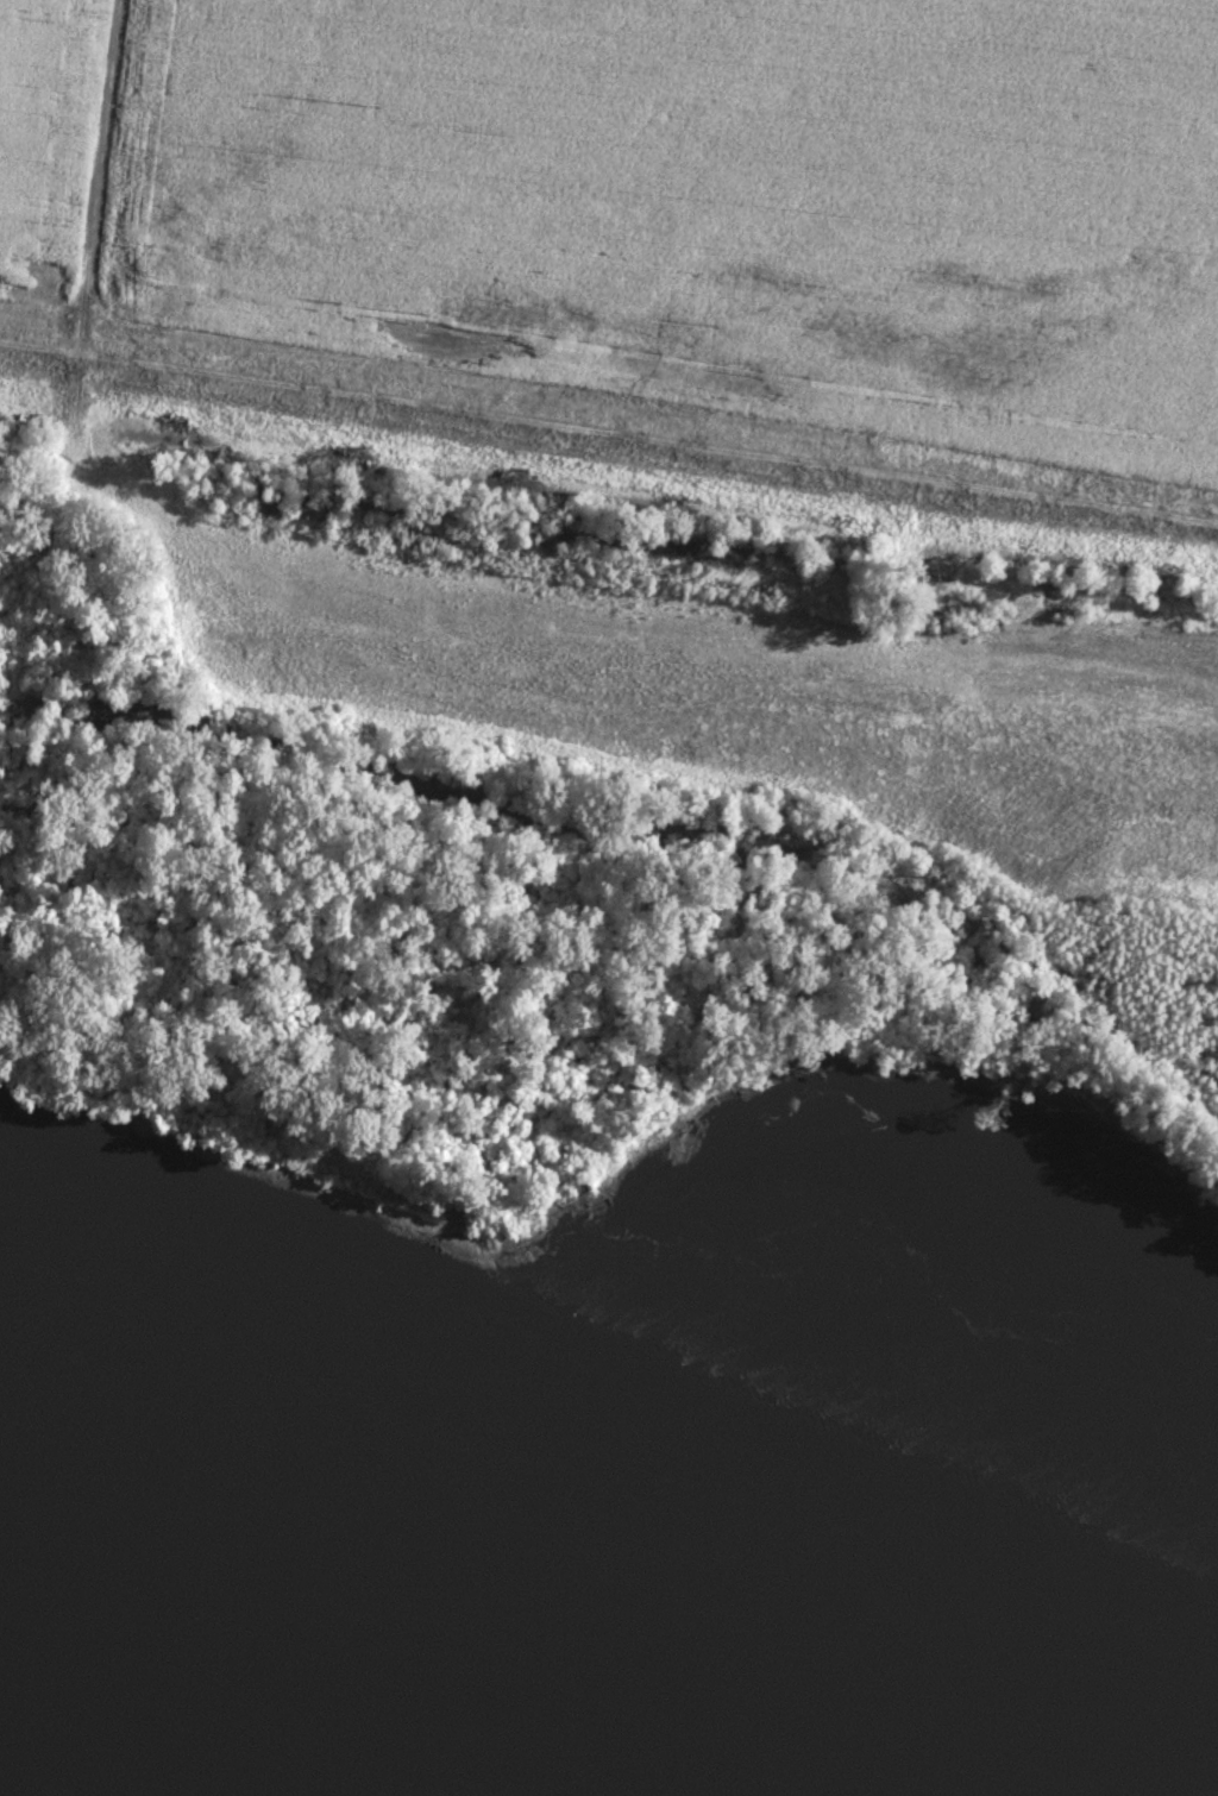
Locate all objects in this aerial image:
crop: (44, 142)
crop: (707, 203)
road: (90, 270)
crop: (754, 703)
river: (264, 1703)

